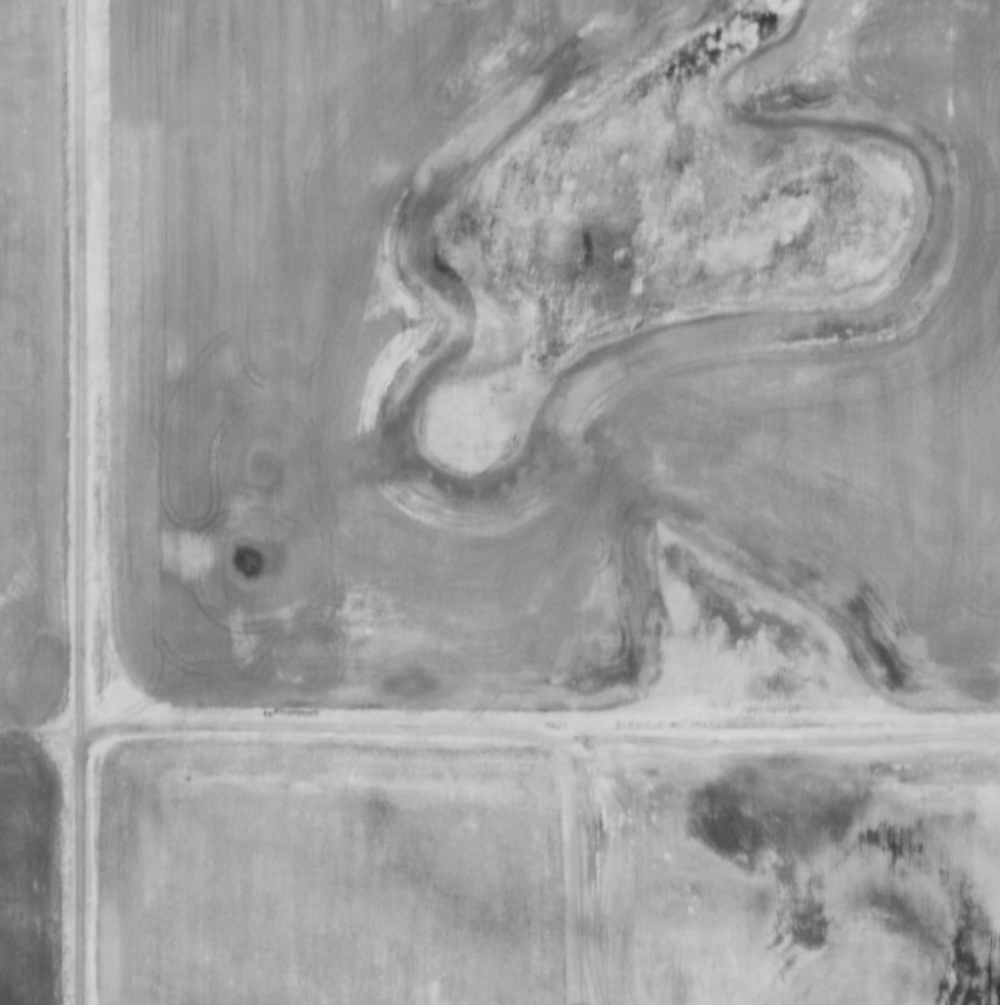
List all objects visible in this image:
road: (80, 502)
road: (499, 727)

